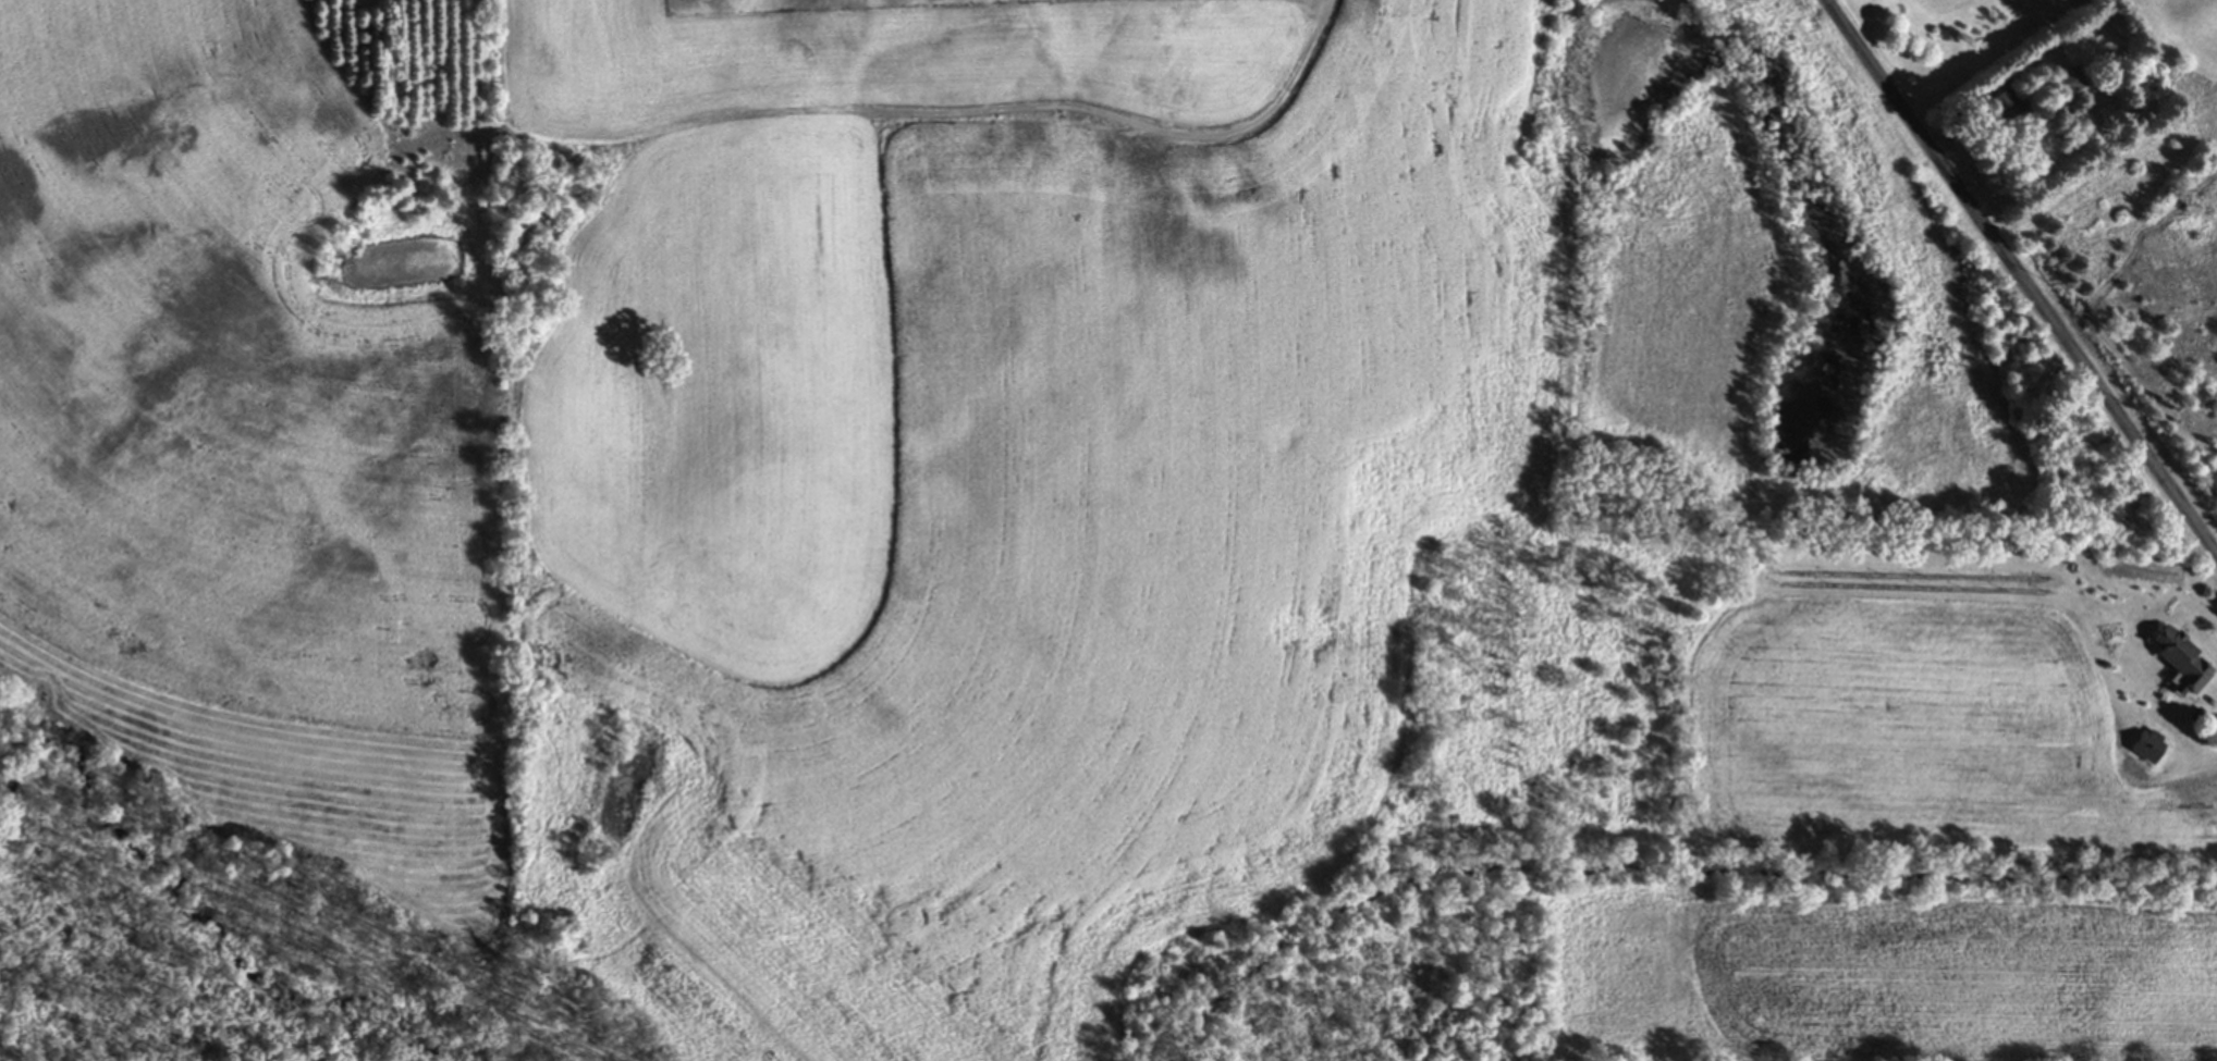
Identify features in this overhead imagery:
building: (2069, 82)
building: (2001, 110)
road: (2020, 276)
building: (2178, 655)

